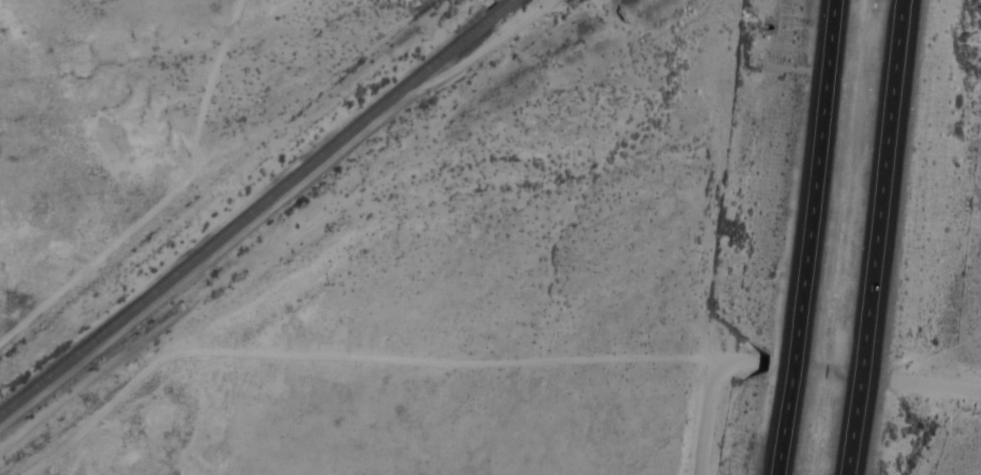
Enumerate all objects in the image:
railway: (508, 2)
railway: (497, 11)
railway: (611, 13)
railway: (244, 217)
road: (804, 237)
road: (878, 237)
quarry: (970, 269)
road: (937, 387)
road: (646, 419)
road: (706, 426)

